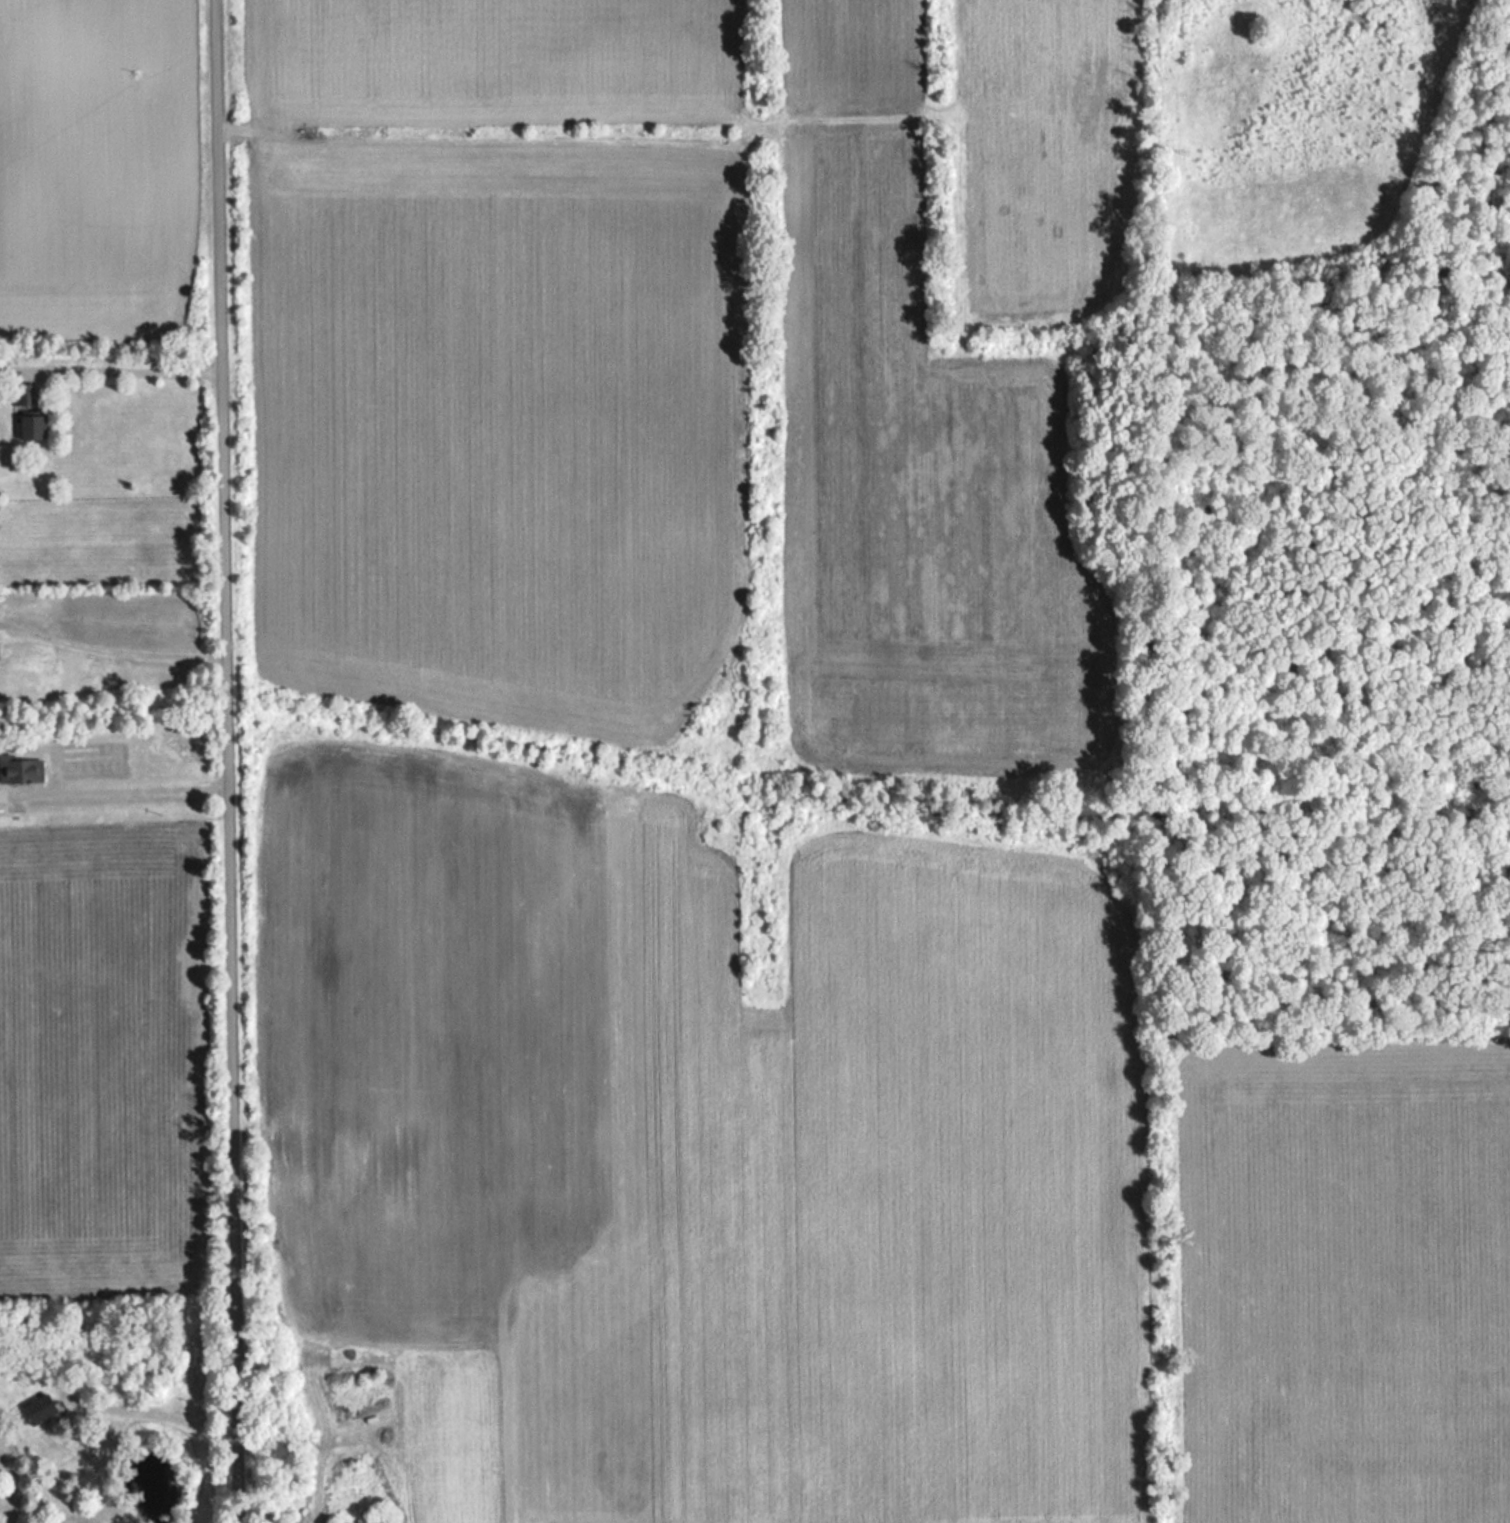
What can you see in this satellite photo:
road: (126, 373)
building: (36, 426)
road: (110, 642)
road: (225, 761)
building: (23, 767)
road: (139, 782)
building: (46, 1408)
road: (153, 1412)

